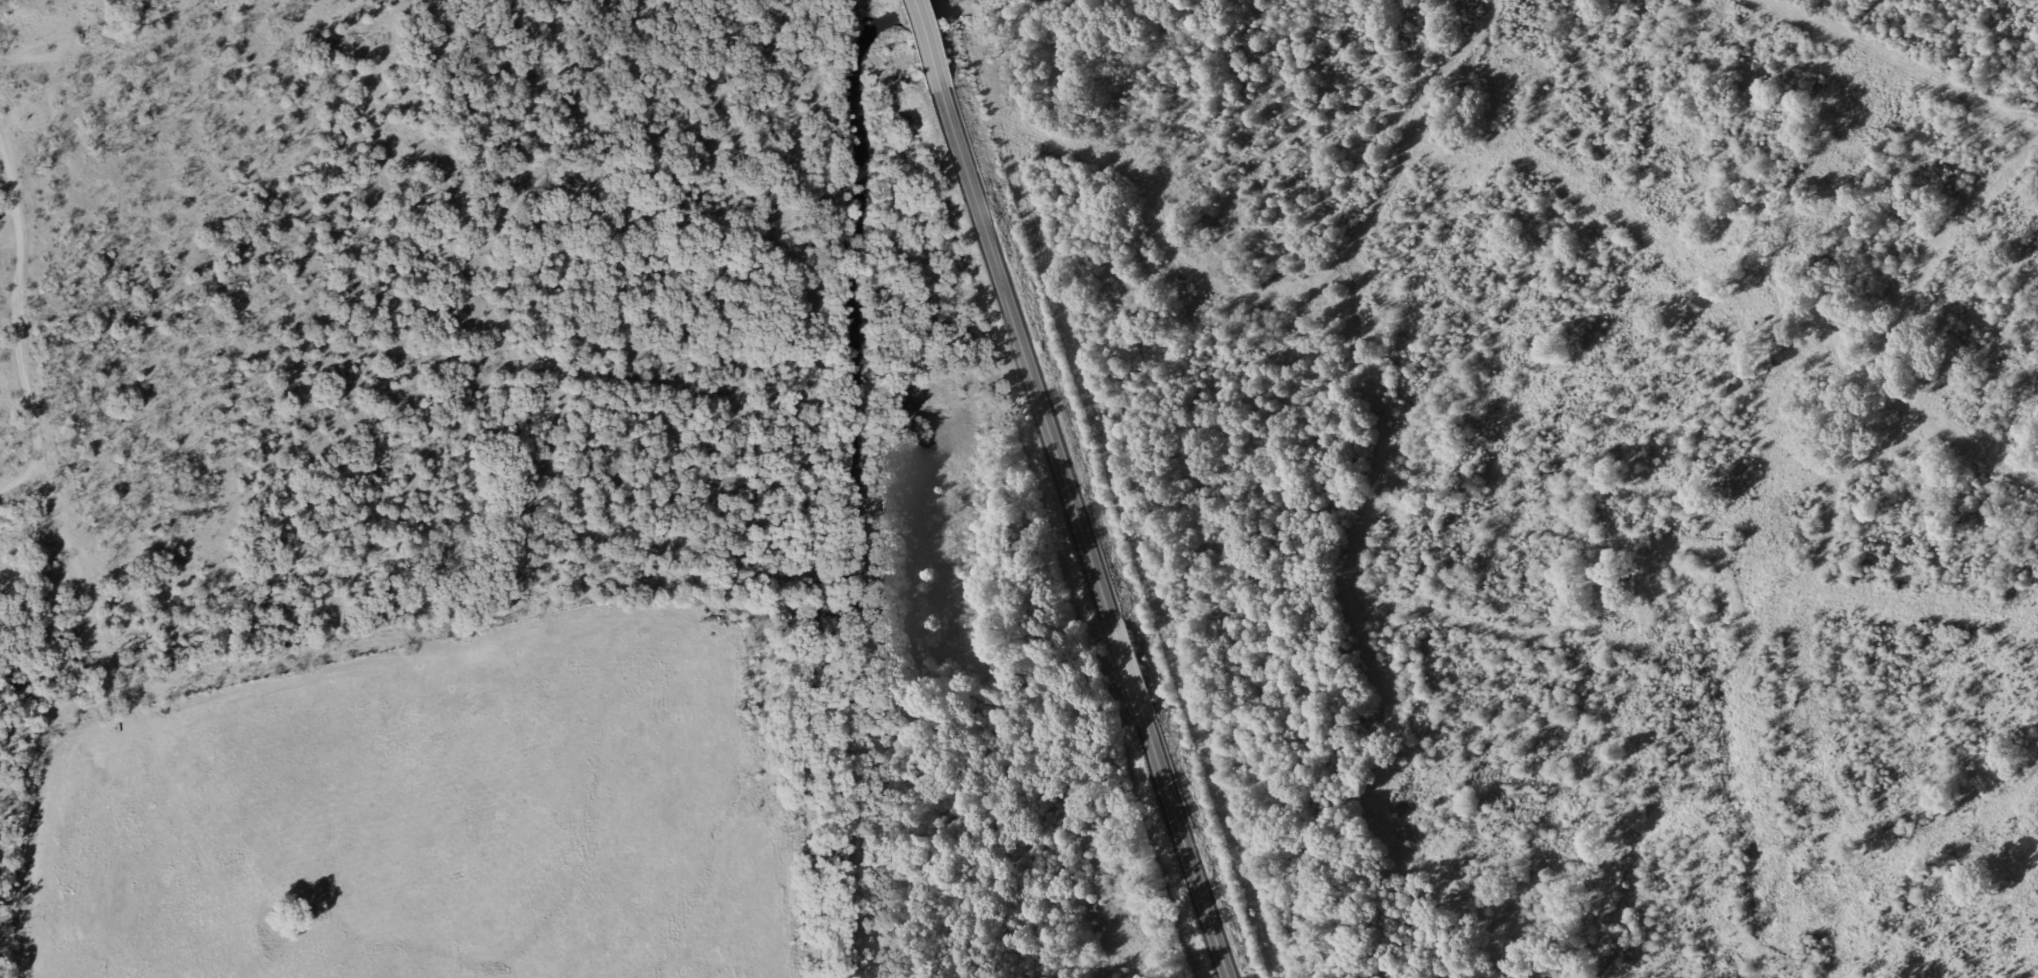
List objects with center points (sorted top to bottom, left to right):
road: (1065, 489)

